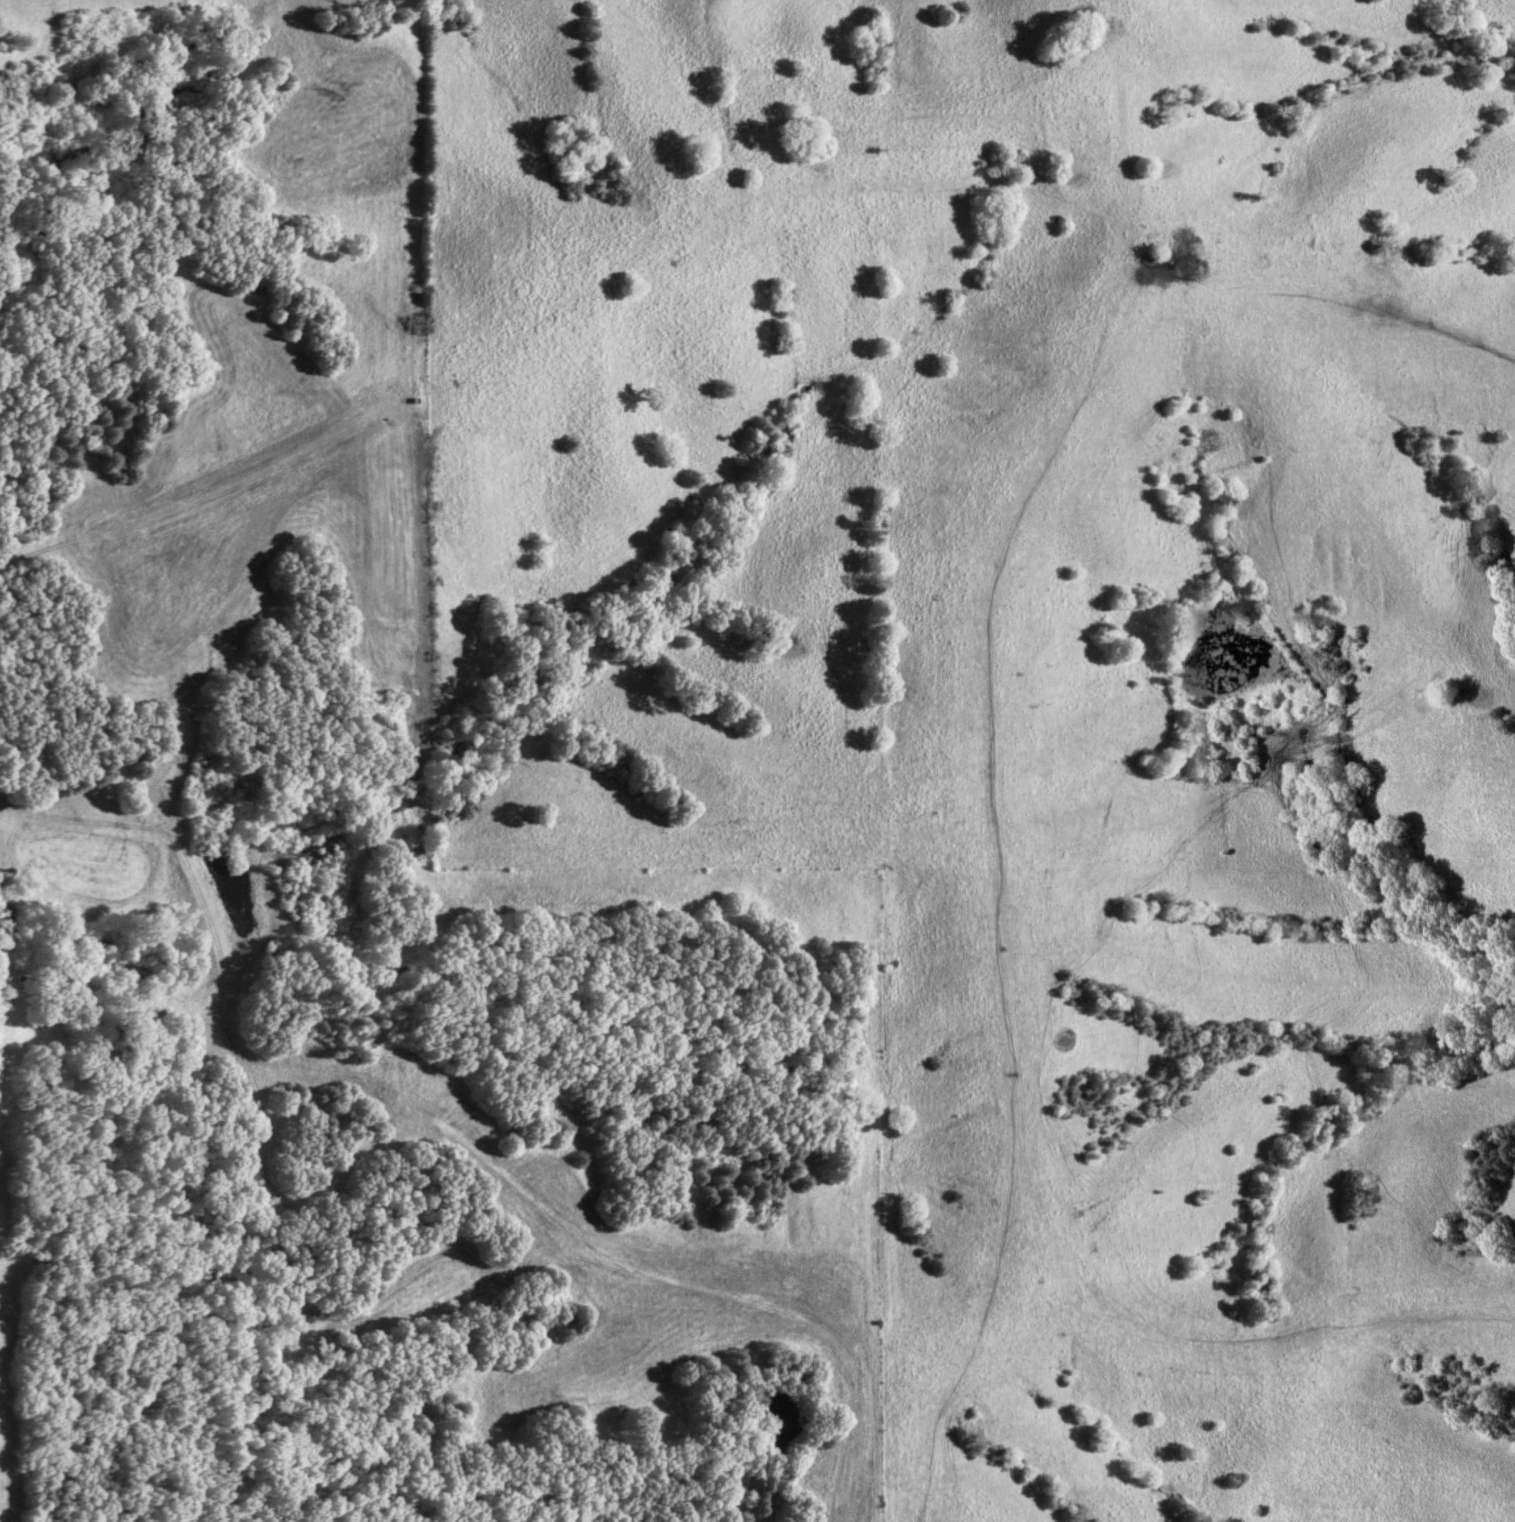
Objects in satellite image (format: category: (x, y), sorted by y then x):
road: (1283, 399)

